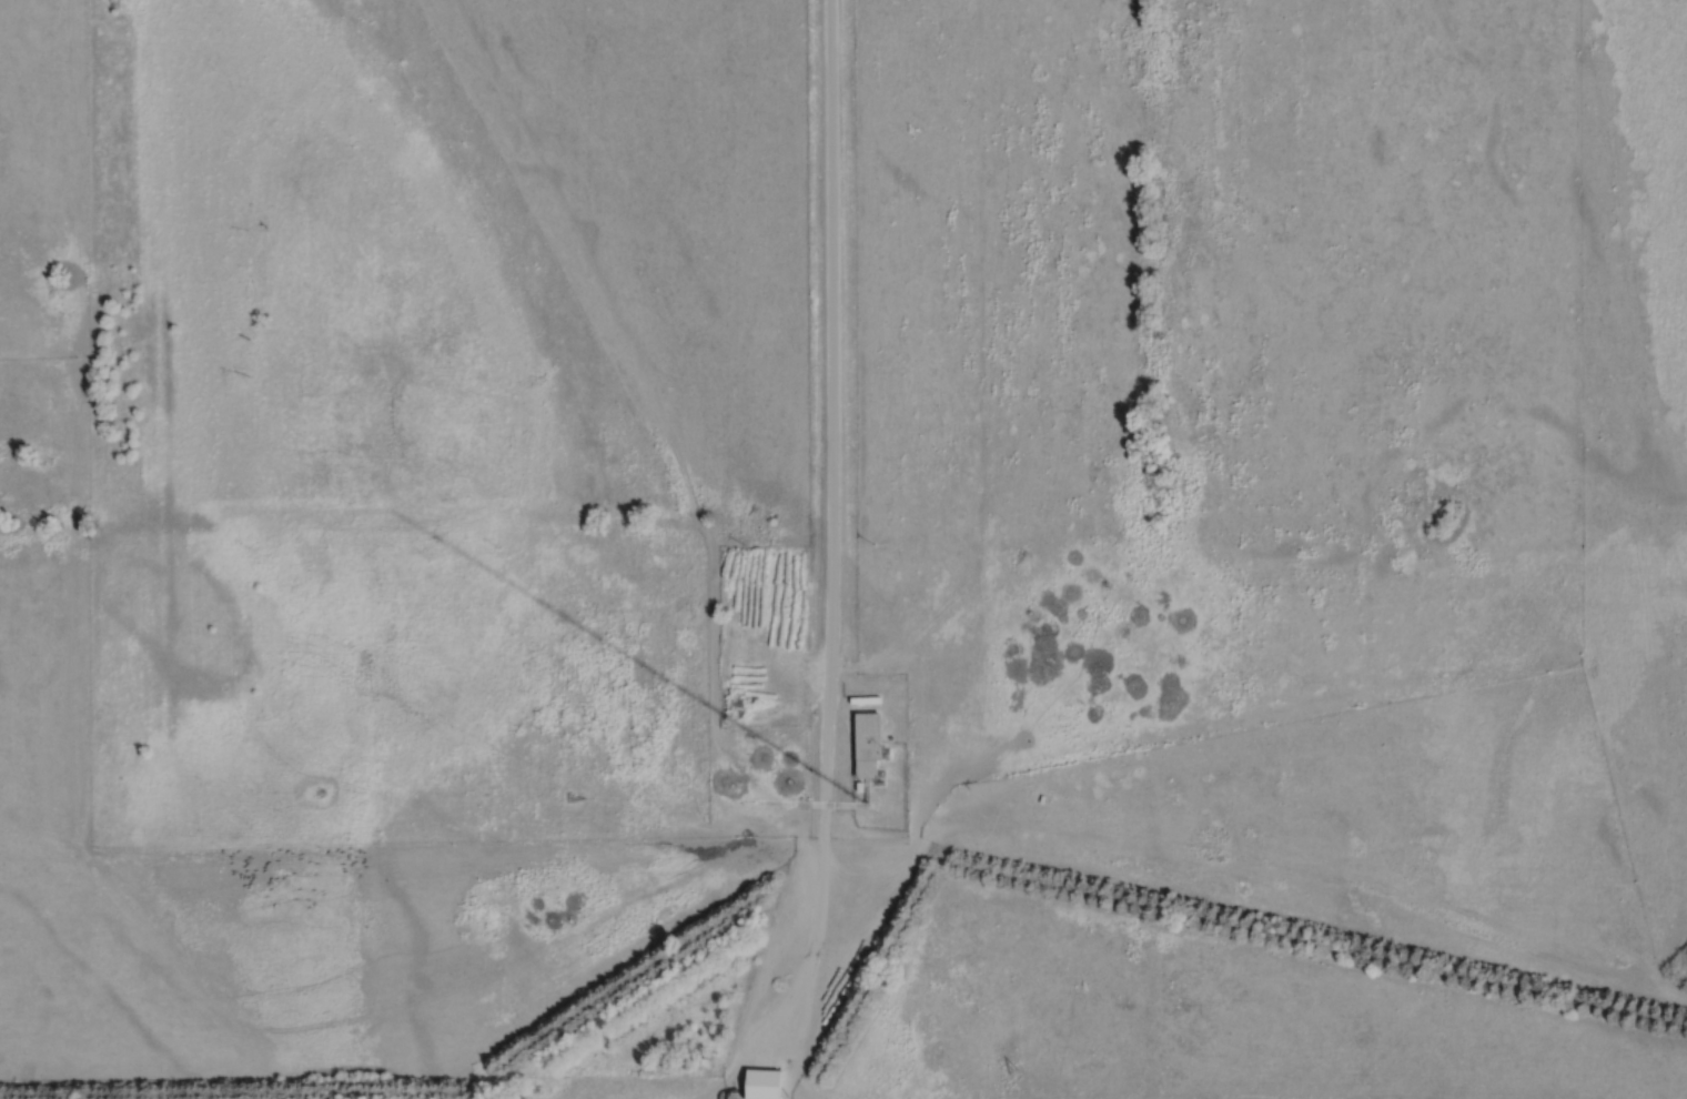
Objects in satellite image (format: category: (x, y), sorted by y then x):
road: (831, 527)
building: (868, 744)
building: (768, 1087)

